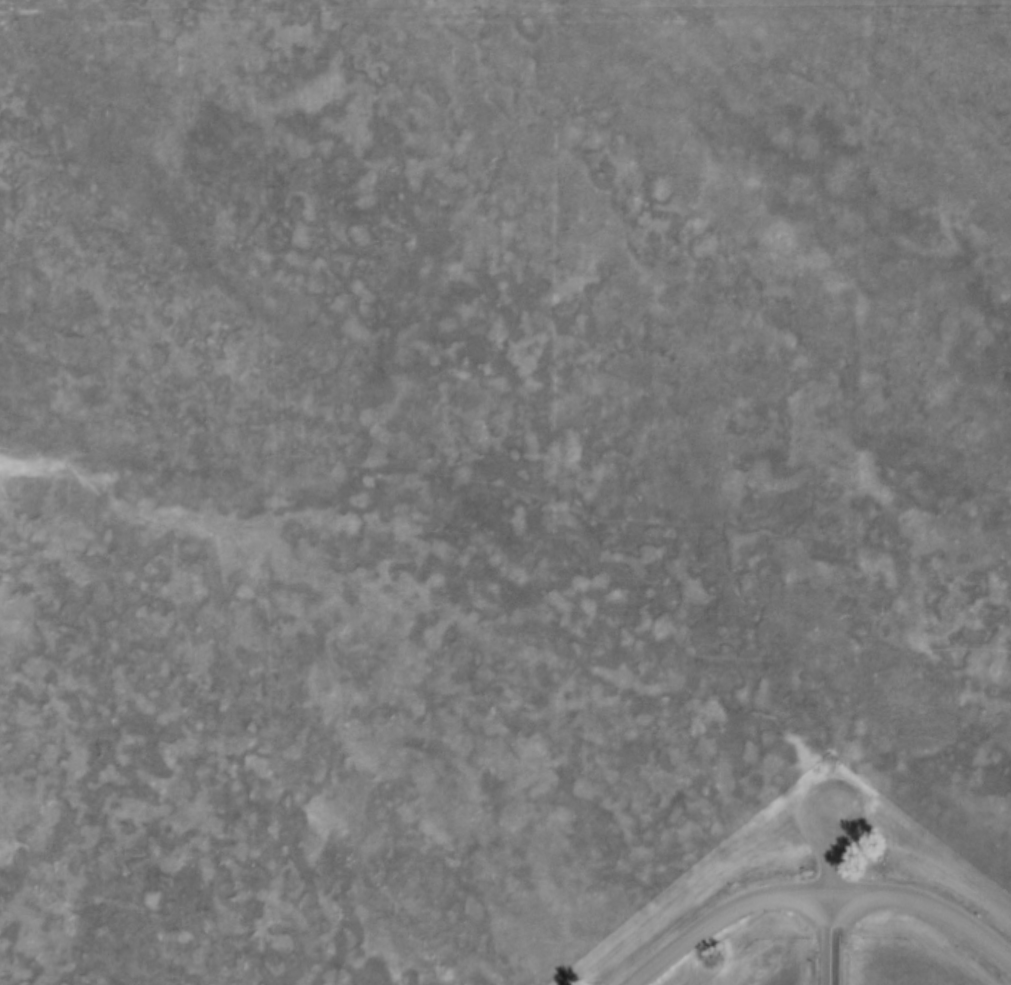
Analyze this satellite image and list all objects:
road: (929, 903)
road: (722, 919)
road: (828, 940)

